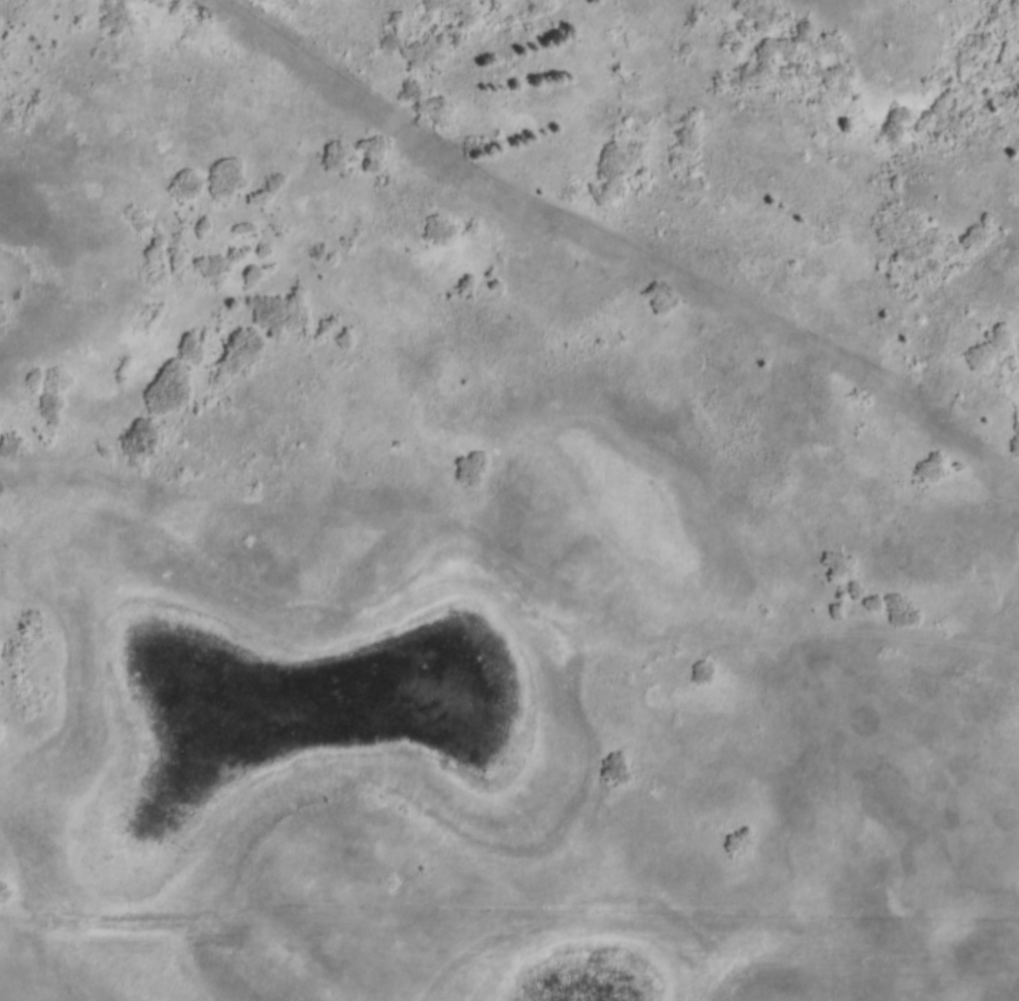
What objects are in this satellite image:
road: (949, 918)

